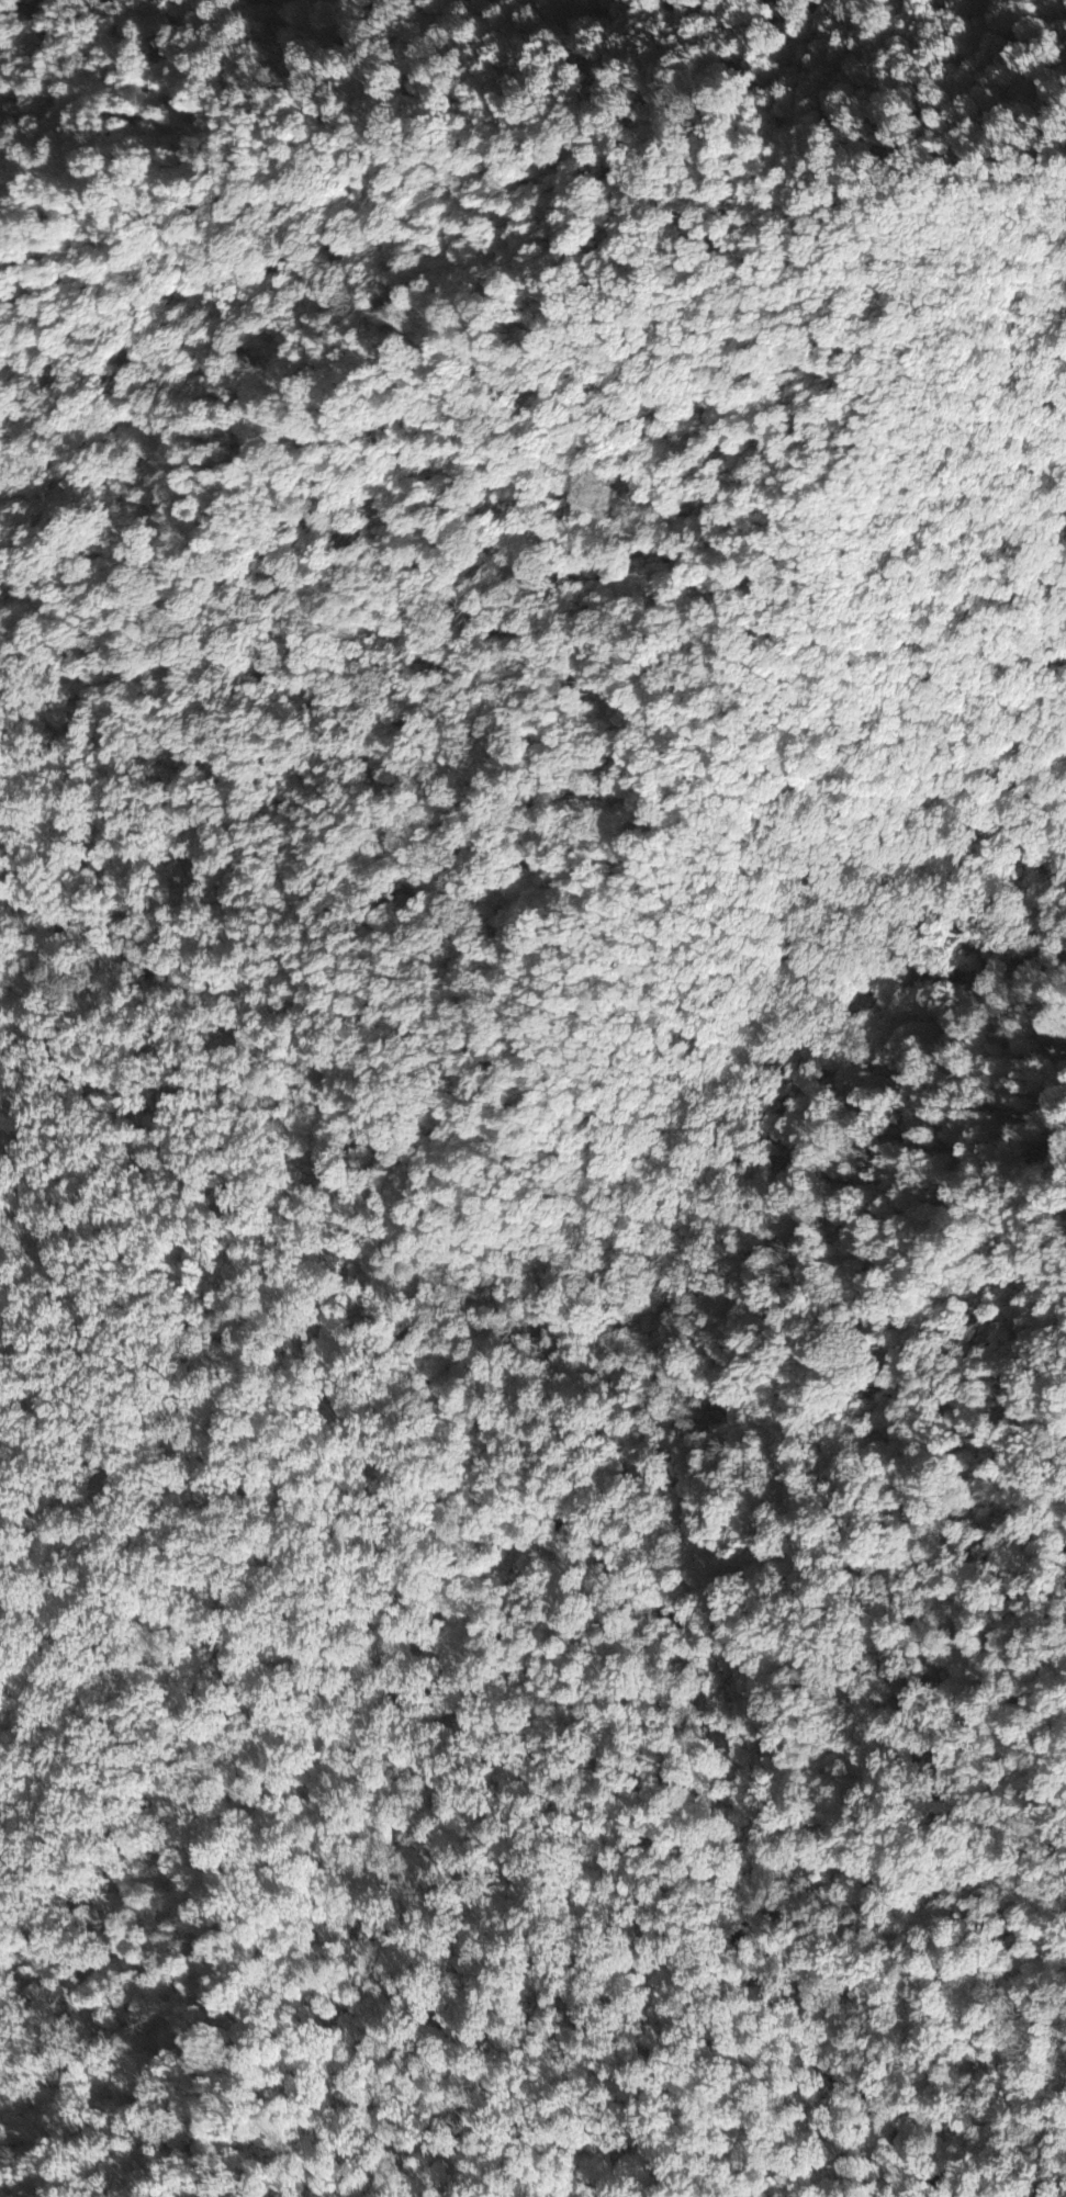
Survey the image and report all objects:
road: (597, 1351)

